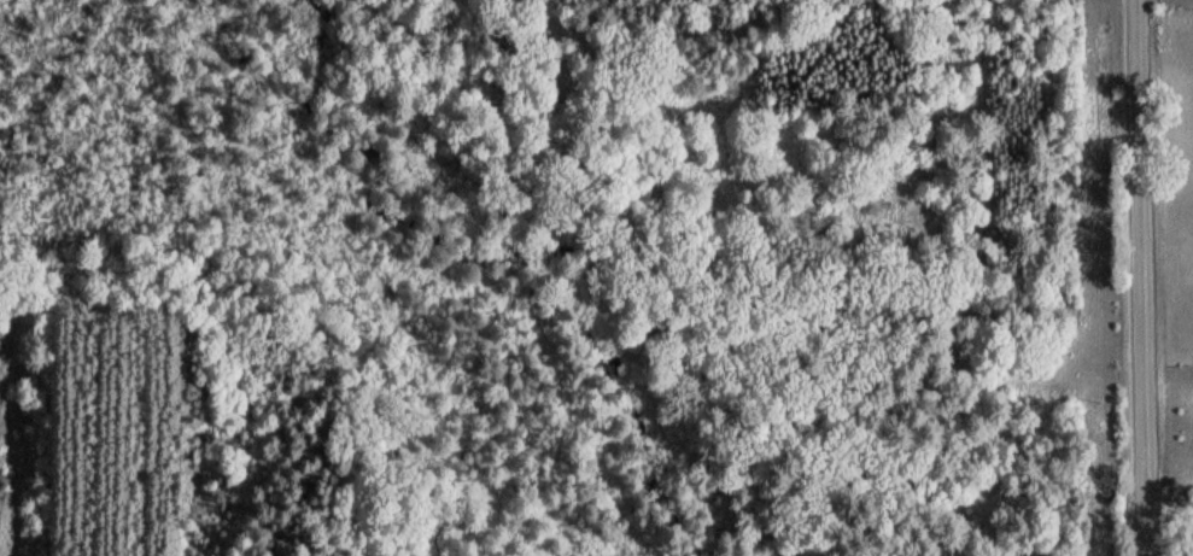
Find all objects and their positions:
road: (1145, 277)

